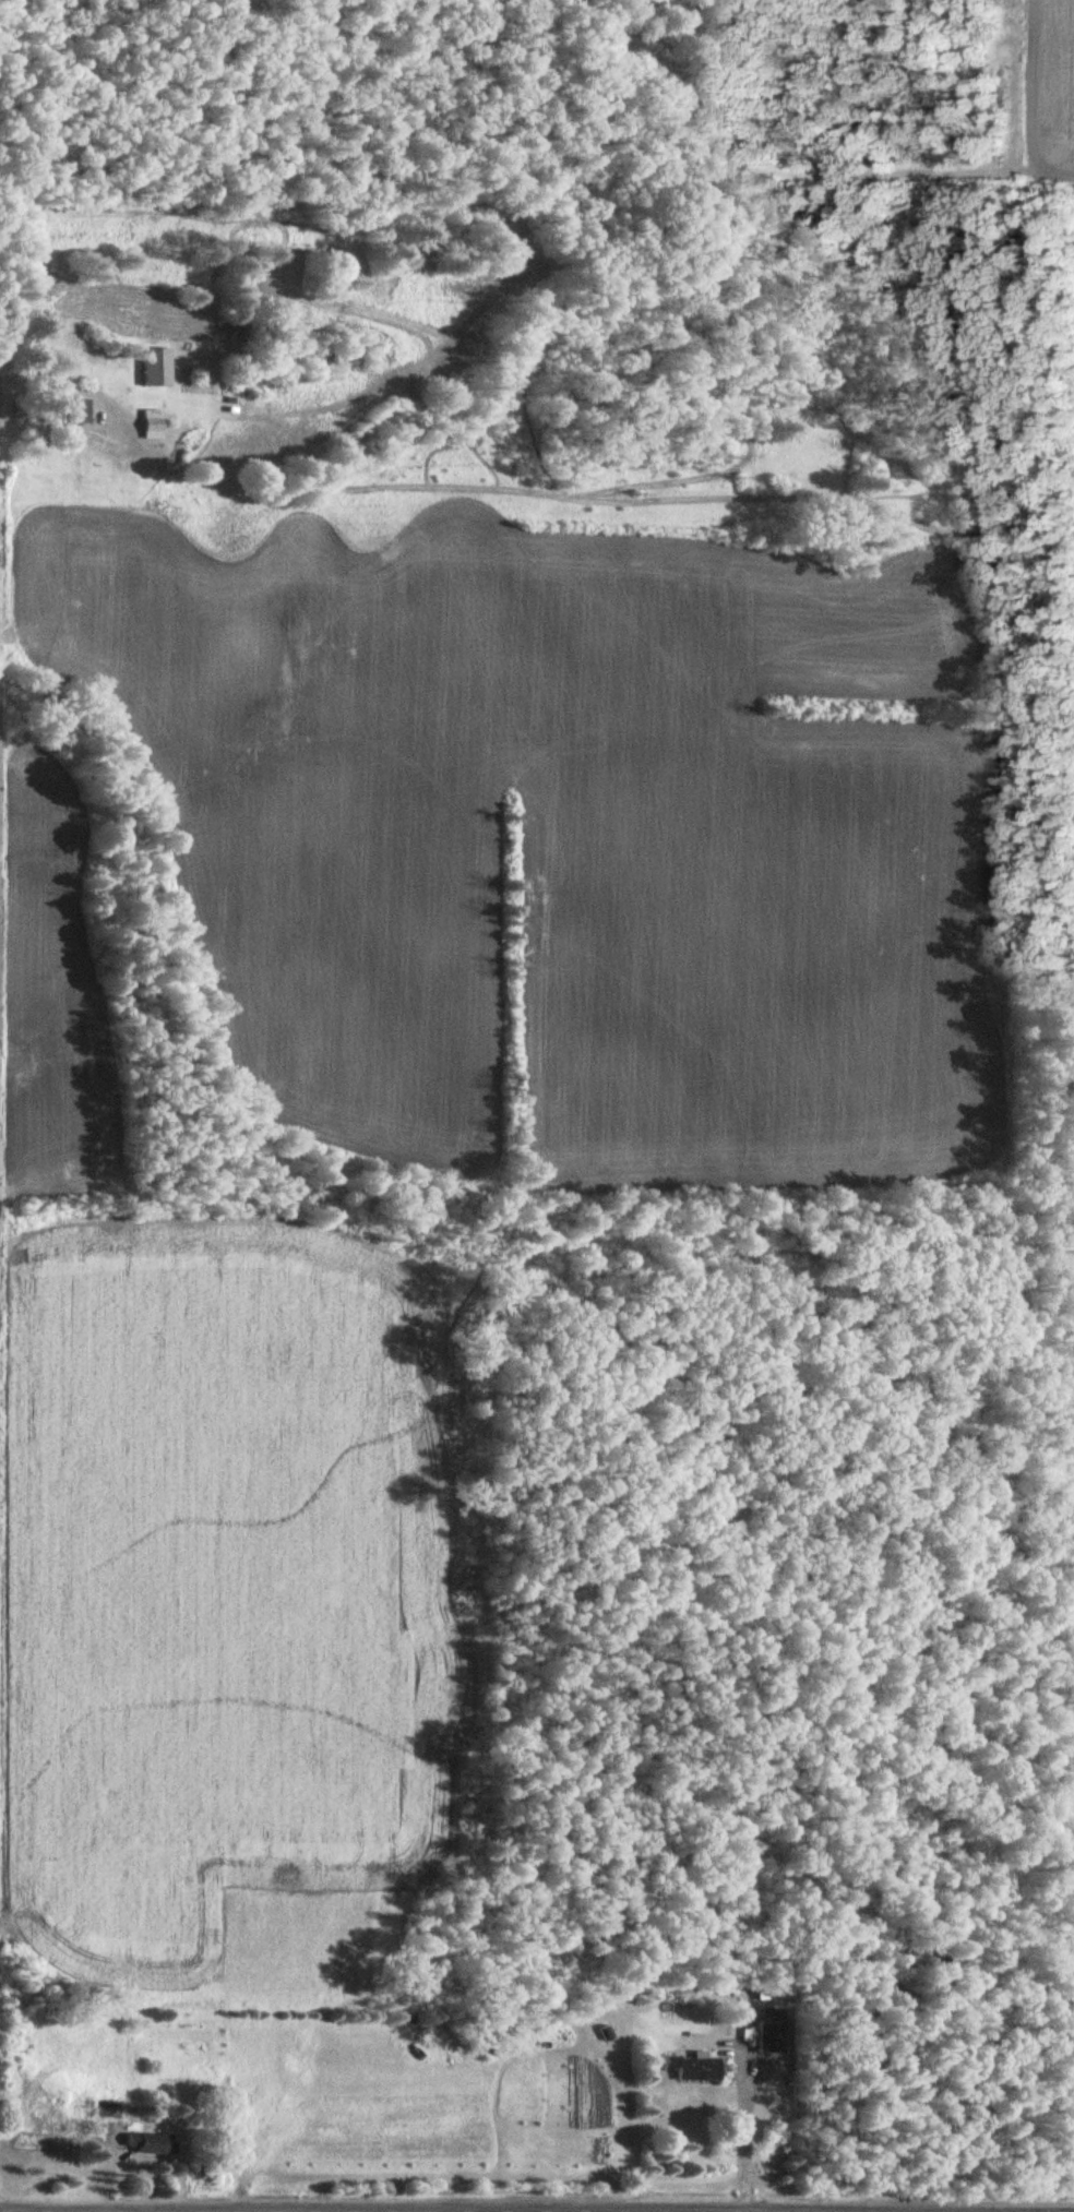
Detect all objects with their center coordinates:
building: (158, 367)
road: (51, 390)
building: (154, 423)
building: (774, 2031)
building: (696, 2068)
building: (110, 2108)
building: (50, 2124)
road: (737, 2139)
building: (157, 2142)

